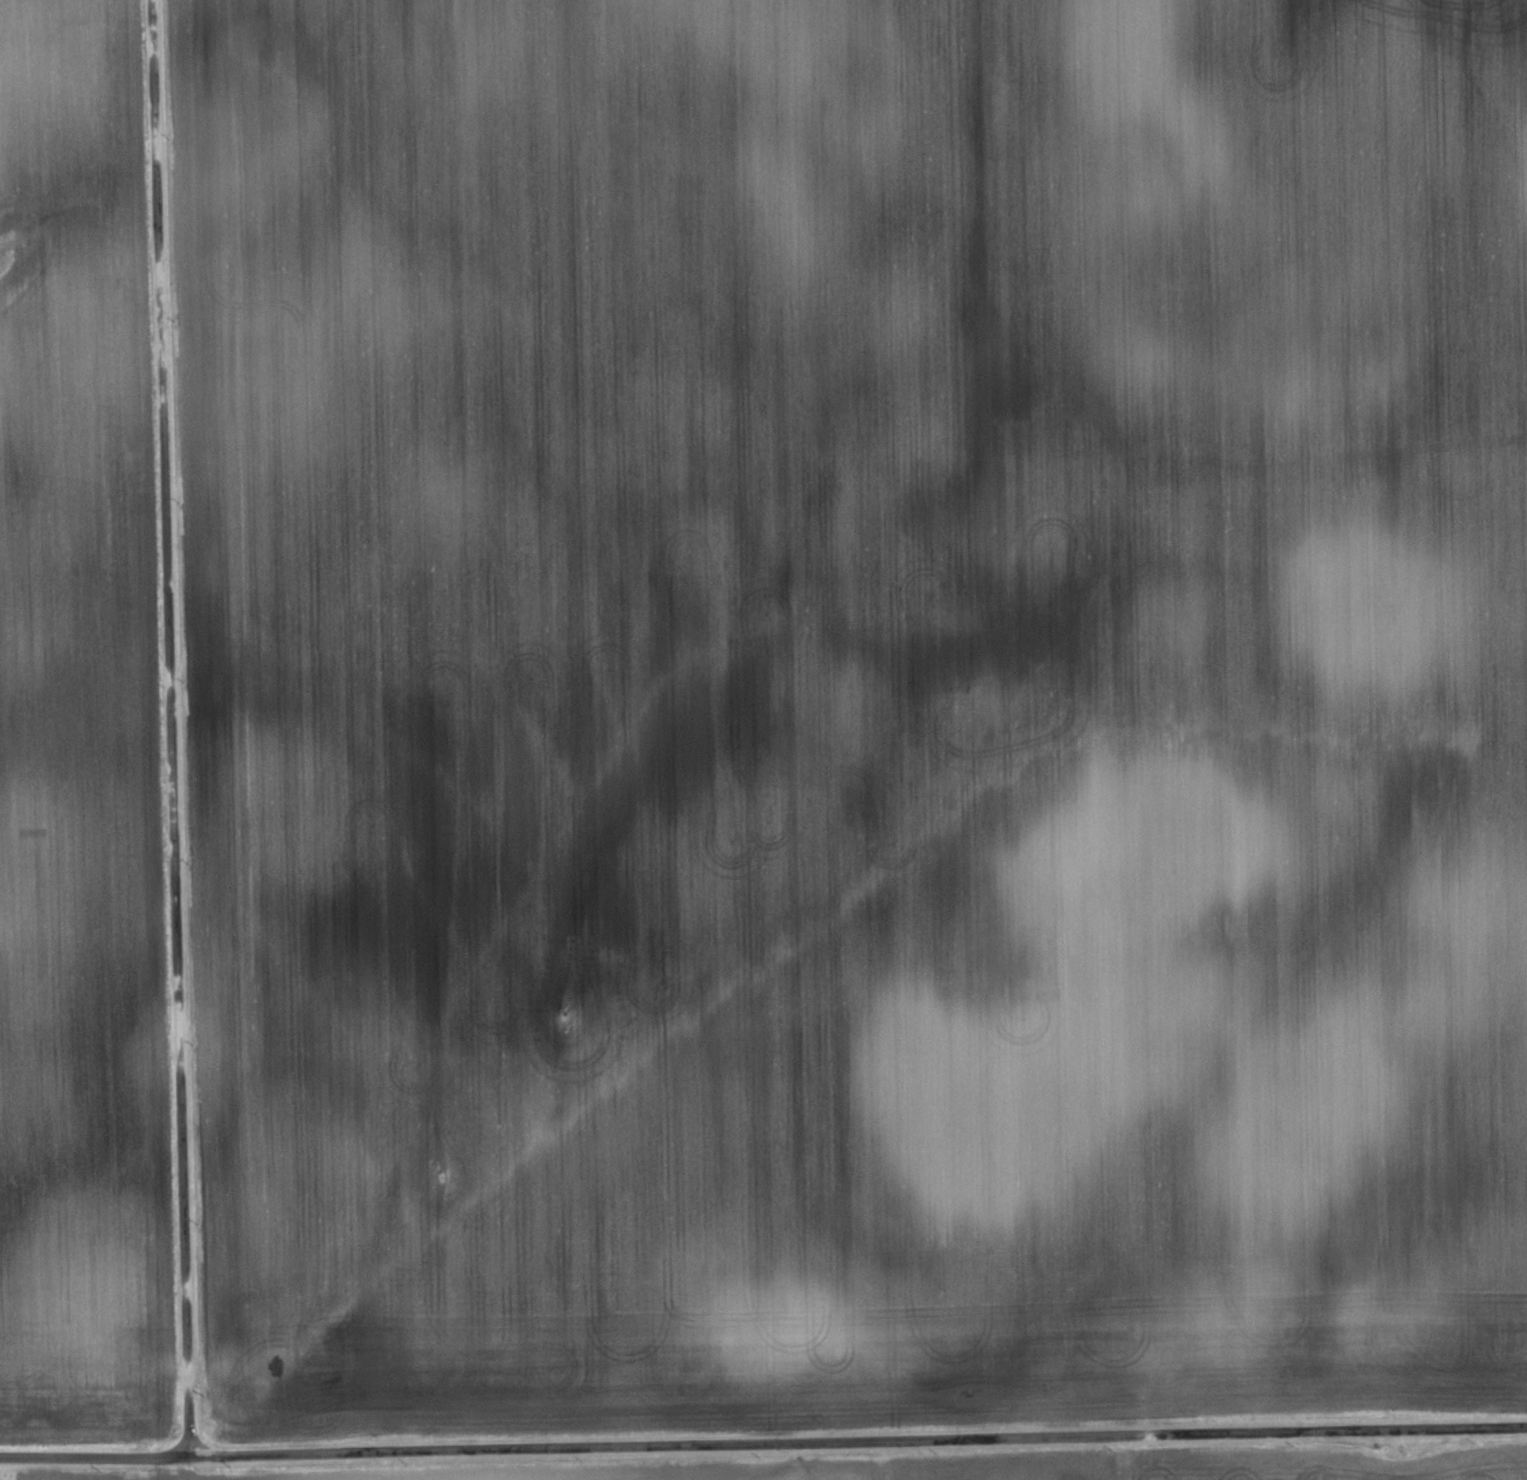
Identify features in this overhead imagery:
crop: (855, 709)
road: (170, 728)
crop: (79, 748)
road: (763, 1443)
crop: (889, 1467)

